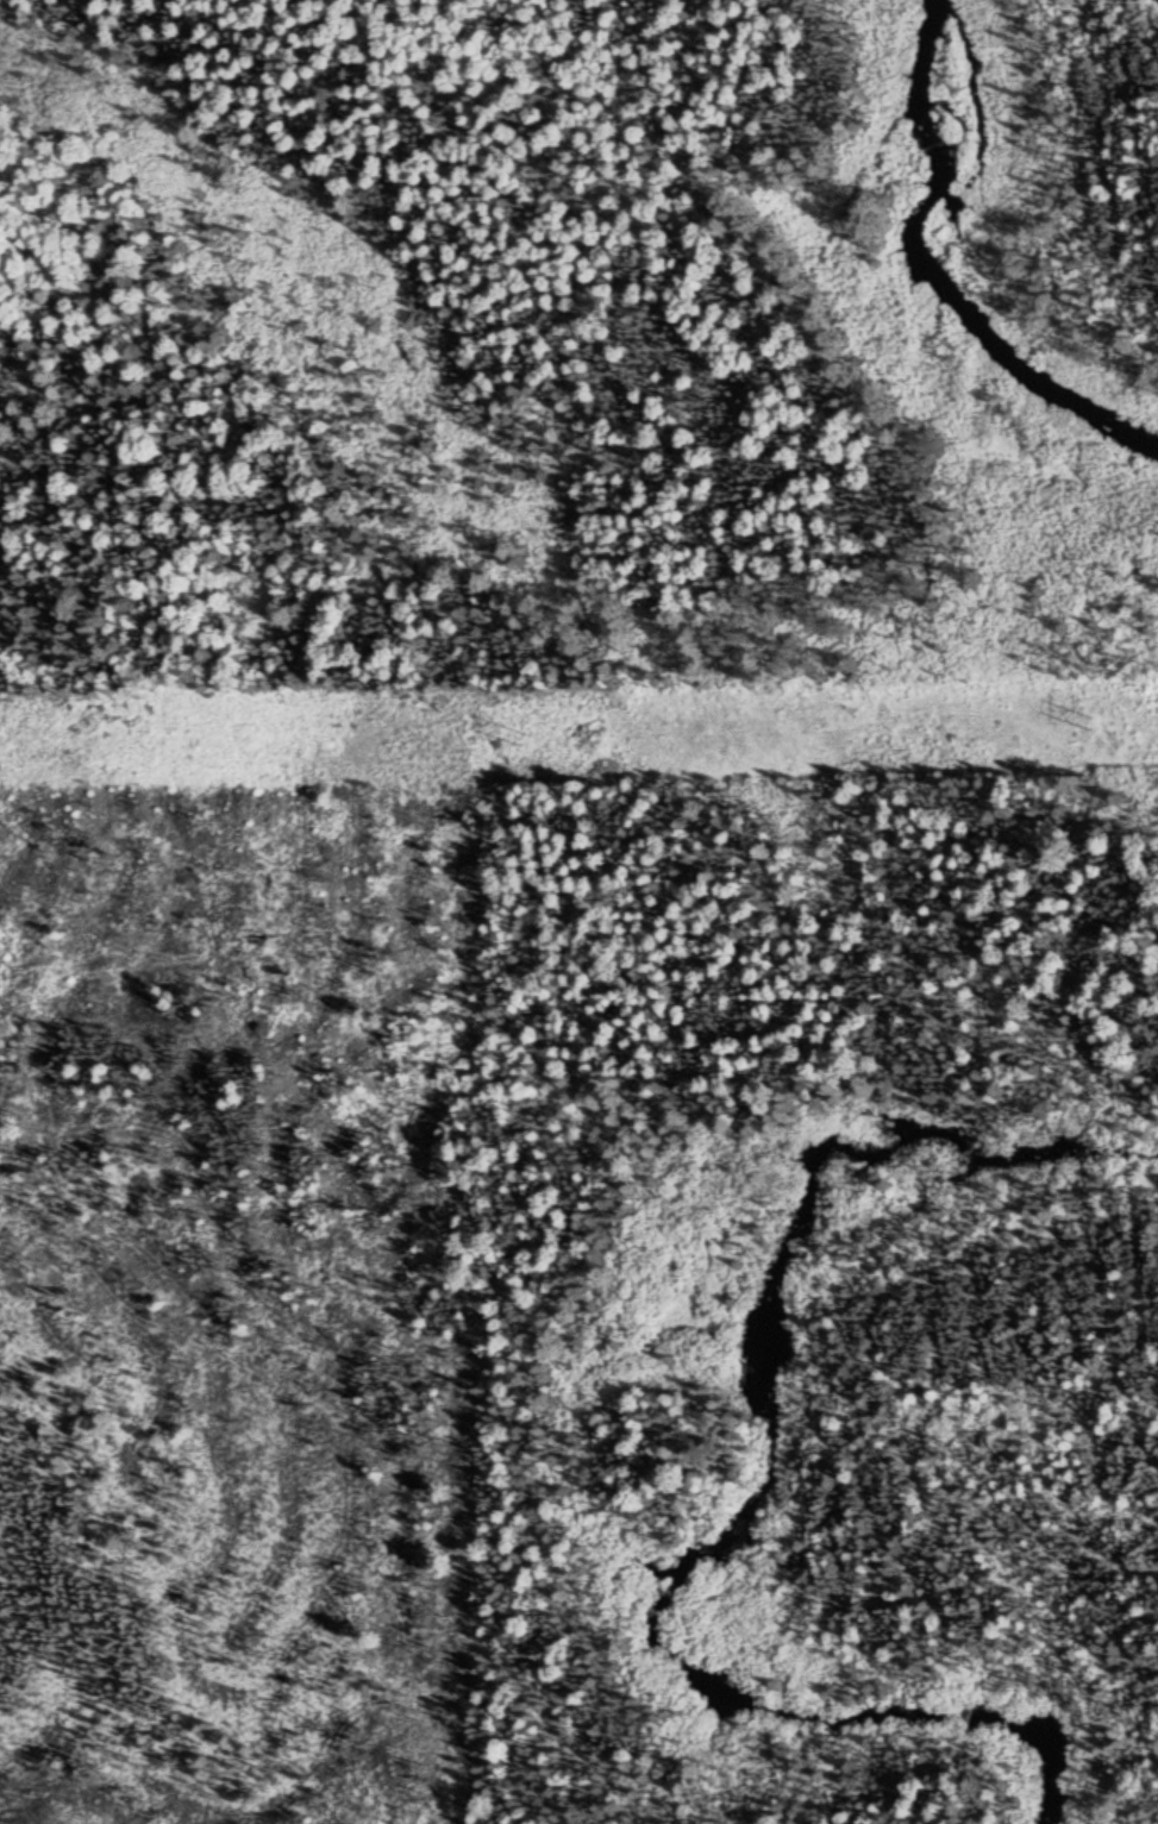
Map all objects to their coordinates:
river: (953, 267)
river: (727, 1484)

